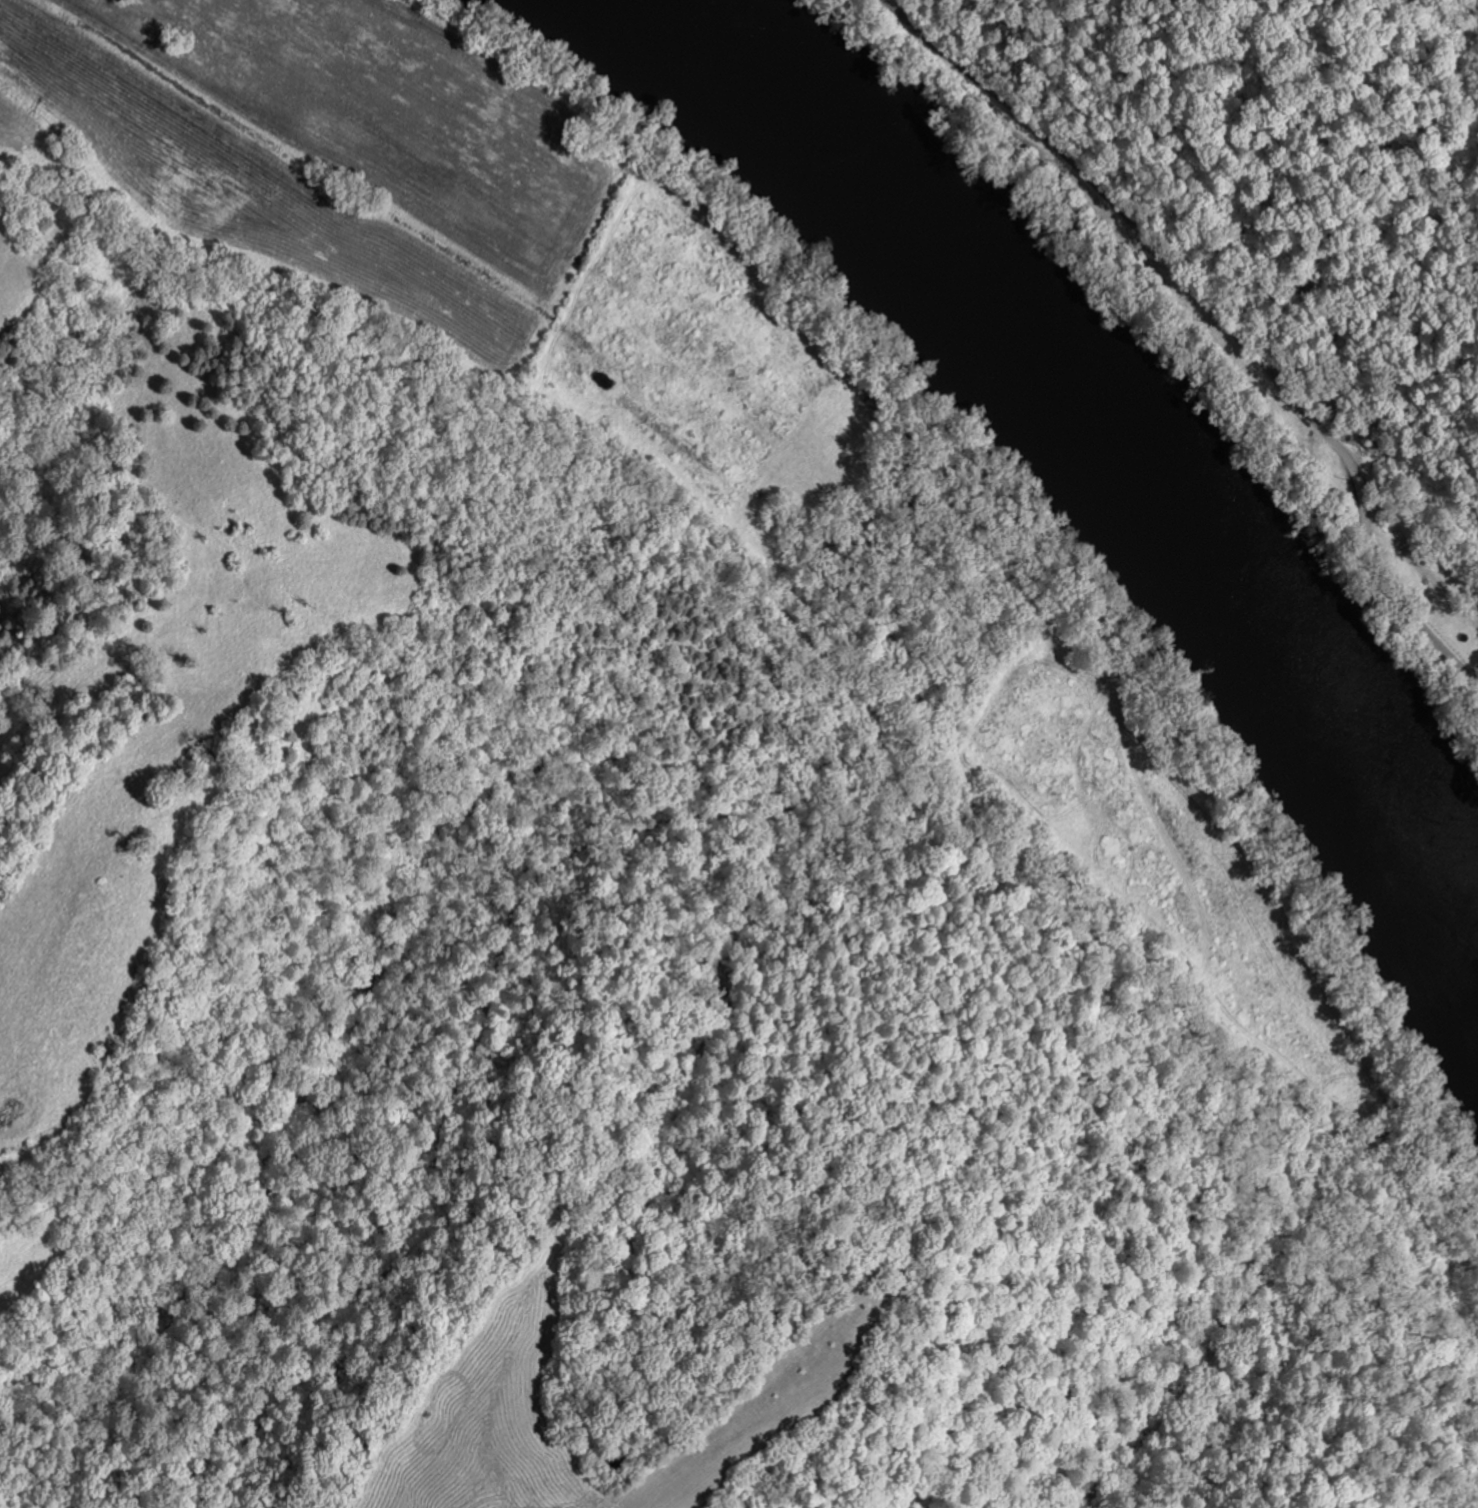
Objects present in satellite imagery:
road: (1221, 318)
river: (1112, 438)

